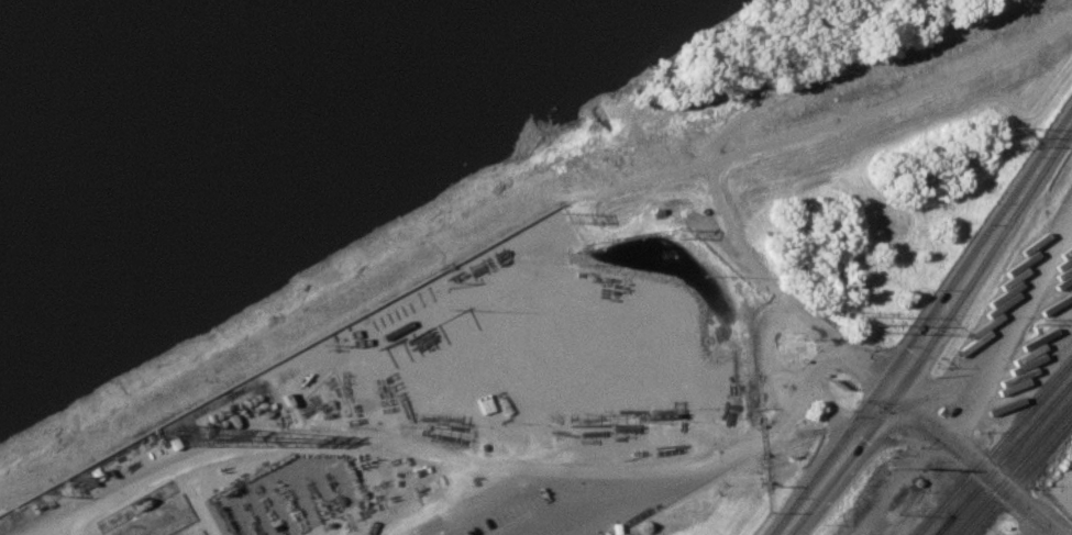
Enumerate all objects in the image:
river: (5, 3)
power tower: (1017, 137)
power tower: (872, 325)
road: (1008, 326)
road: (926, 333)
road: (762, 352)
road: (863, 369)
road: (829, 410)
road: (277, 441)
railway: (993, 446)
railway: (1002, 457)
power tower: (892, 467)
railway: (1012, 467)
road: (639, 472)
railway: (1019, 476)
railway: (941, 525)
road: (1031, 526)
road: (49, 527)
road: (391, 527)

